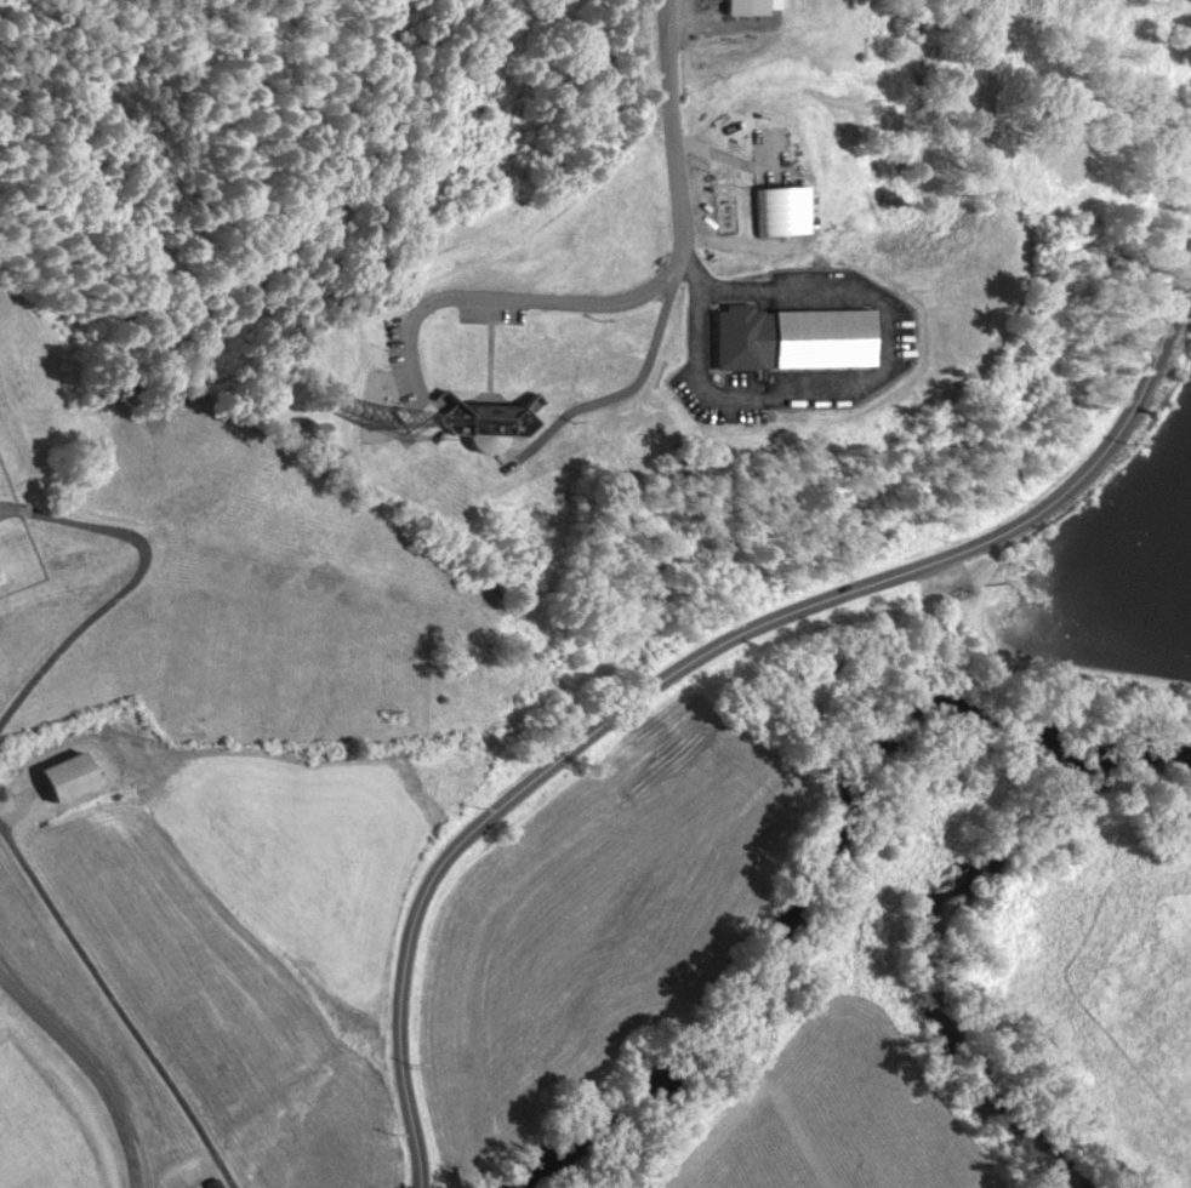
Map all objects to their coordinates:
building: (743, 6)
road: (620, 287)
building: (790, 338)
building: (483, 423)
road: (116, 595)
road: (703, 653)
river: (887, 737)
building: (62, 777)
river: (919, 970)
road: (119, 1004)
road: (92, 1068)
river: (608, 1108)
crop: (807, 1120)
building: (212, 1184)

